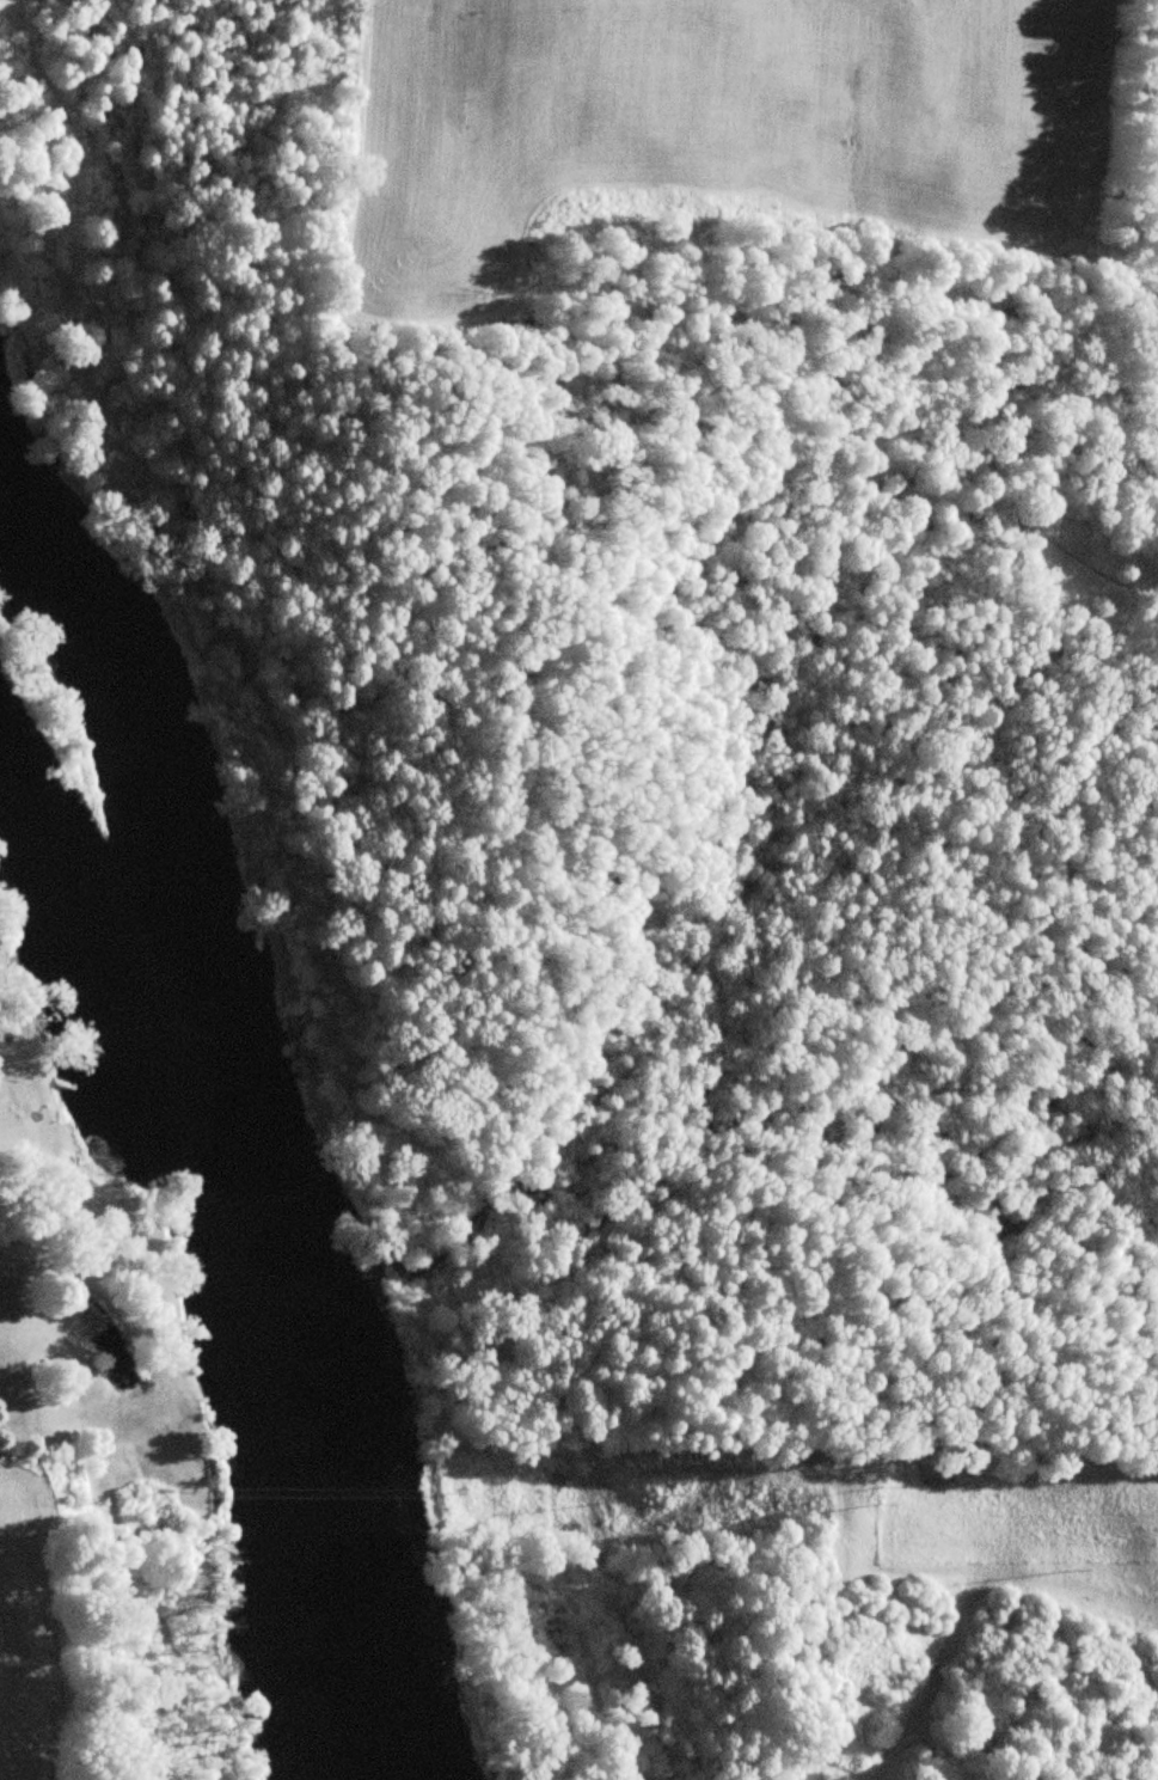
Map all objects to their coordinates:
river: (221, 1145)

